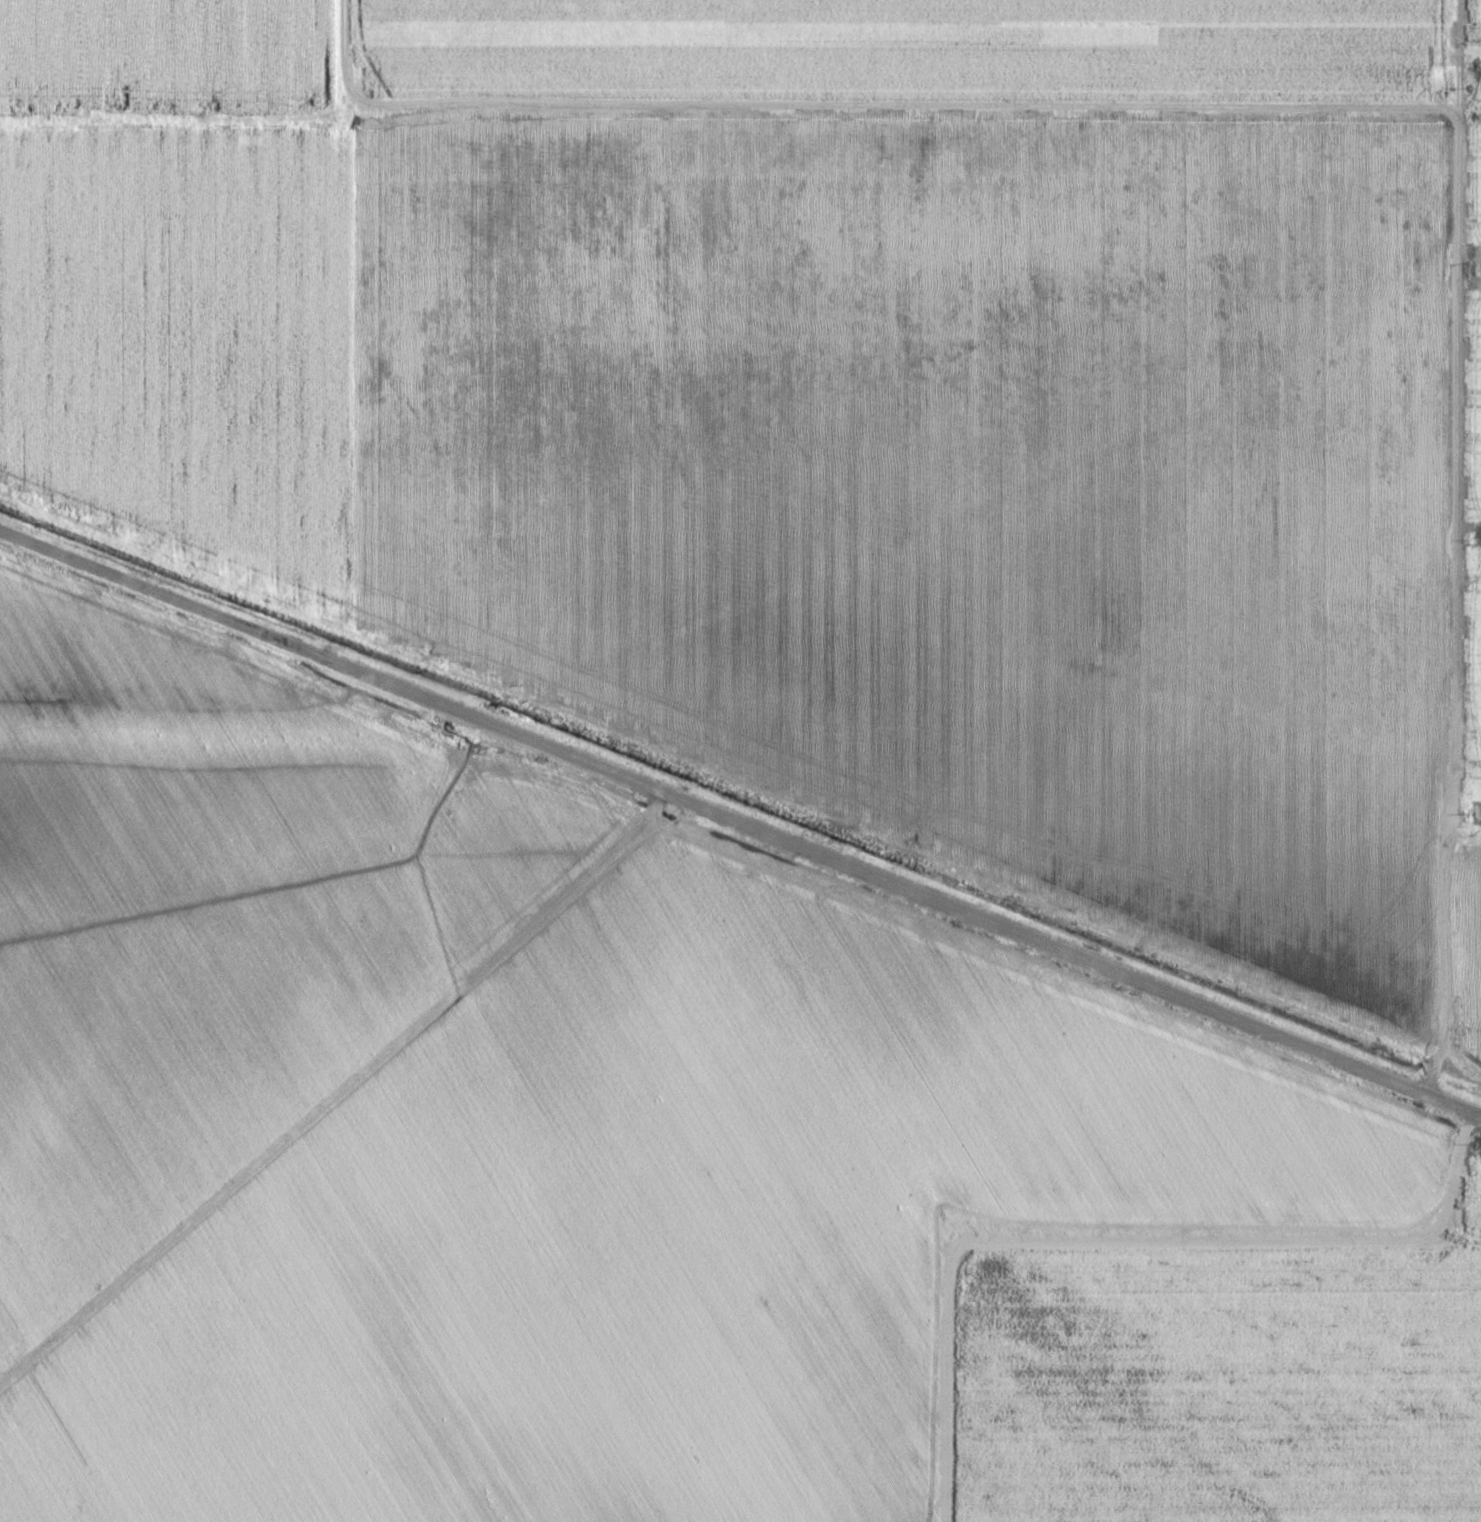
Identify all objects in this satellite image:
road: (727, 107)
road: (1452, 550)
road: (232, 624)
road: (1464, 822)
road: (948, 907)
road: (334, 1089)
road: (1457, 1108)

